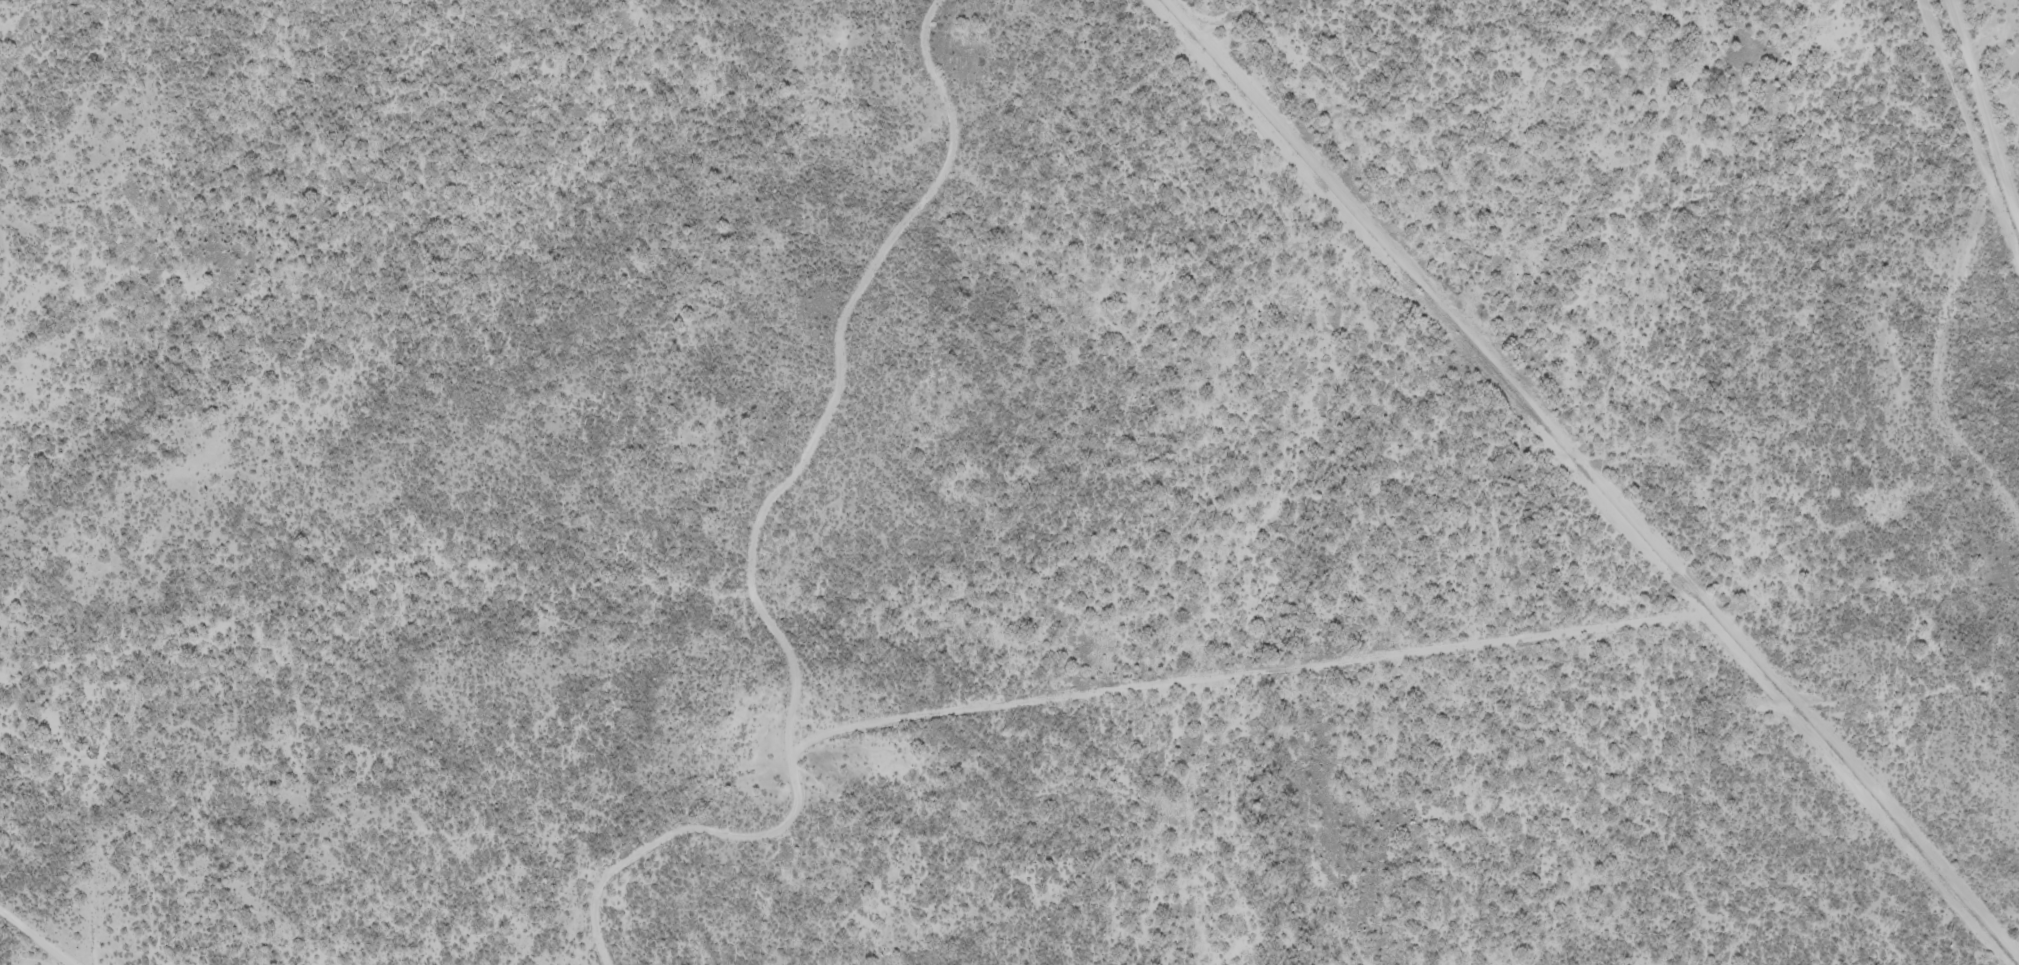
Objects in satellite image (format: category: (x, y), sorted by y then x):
road: (1974, 125)
road: (1589, 482)

